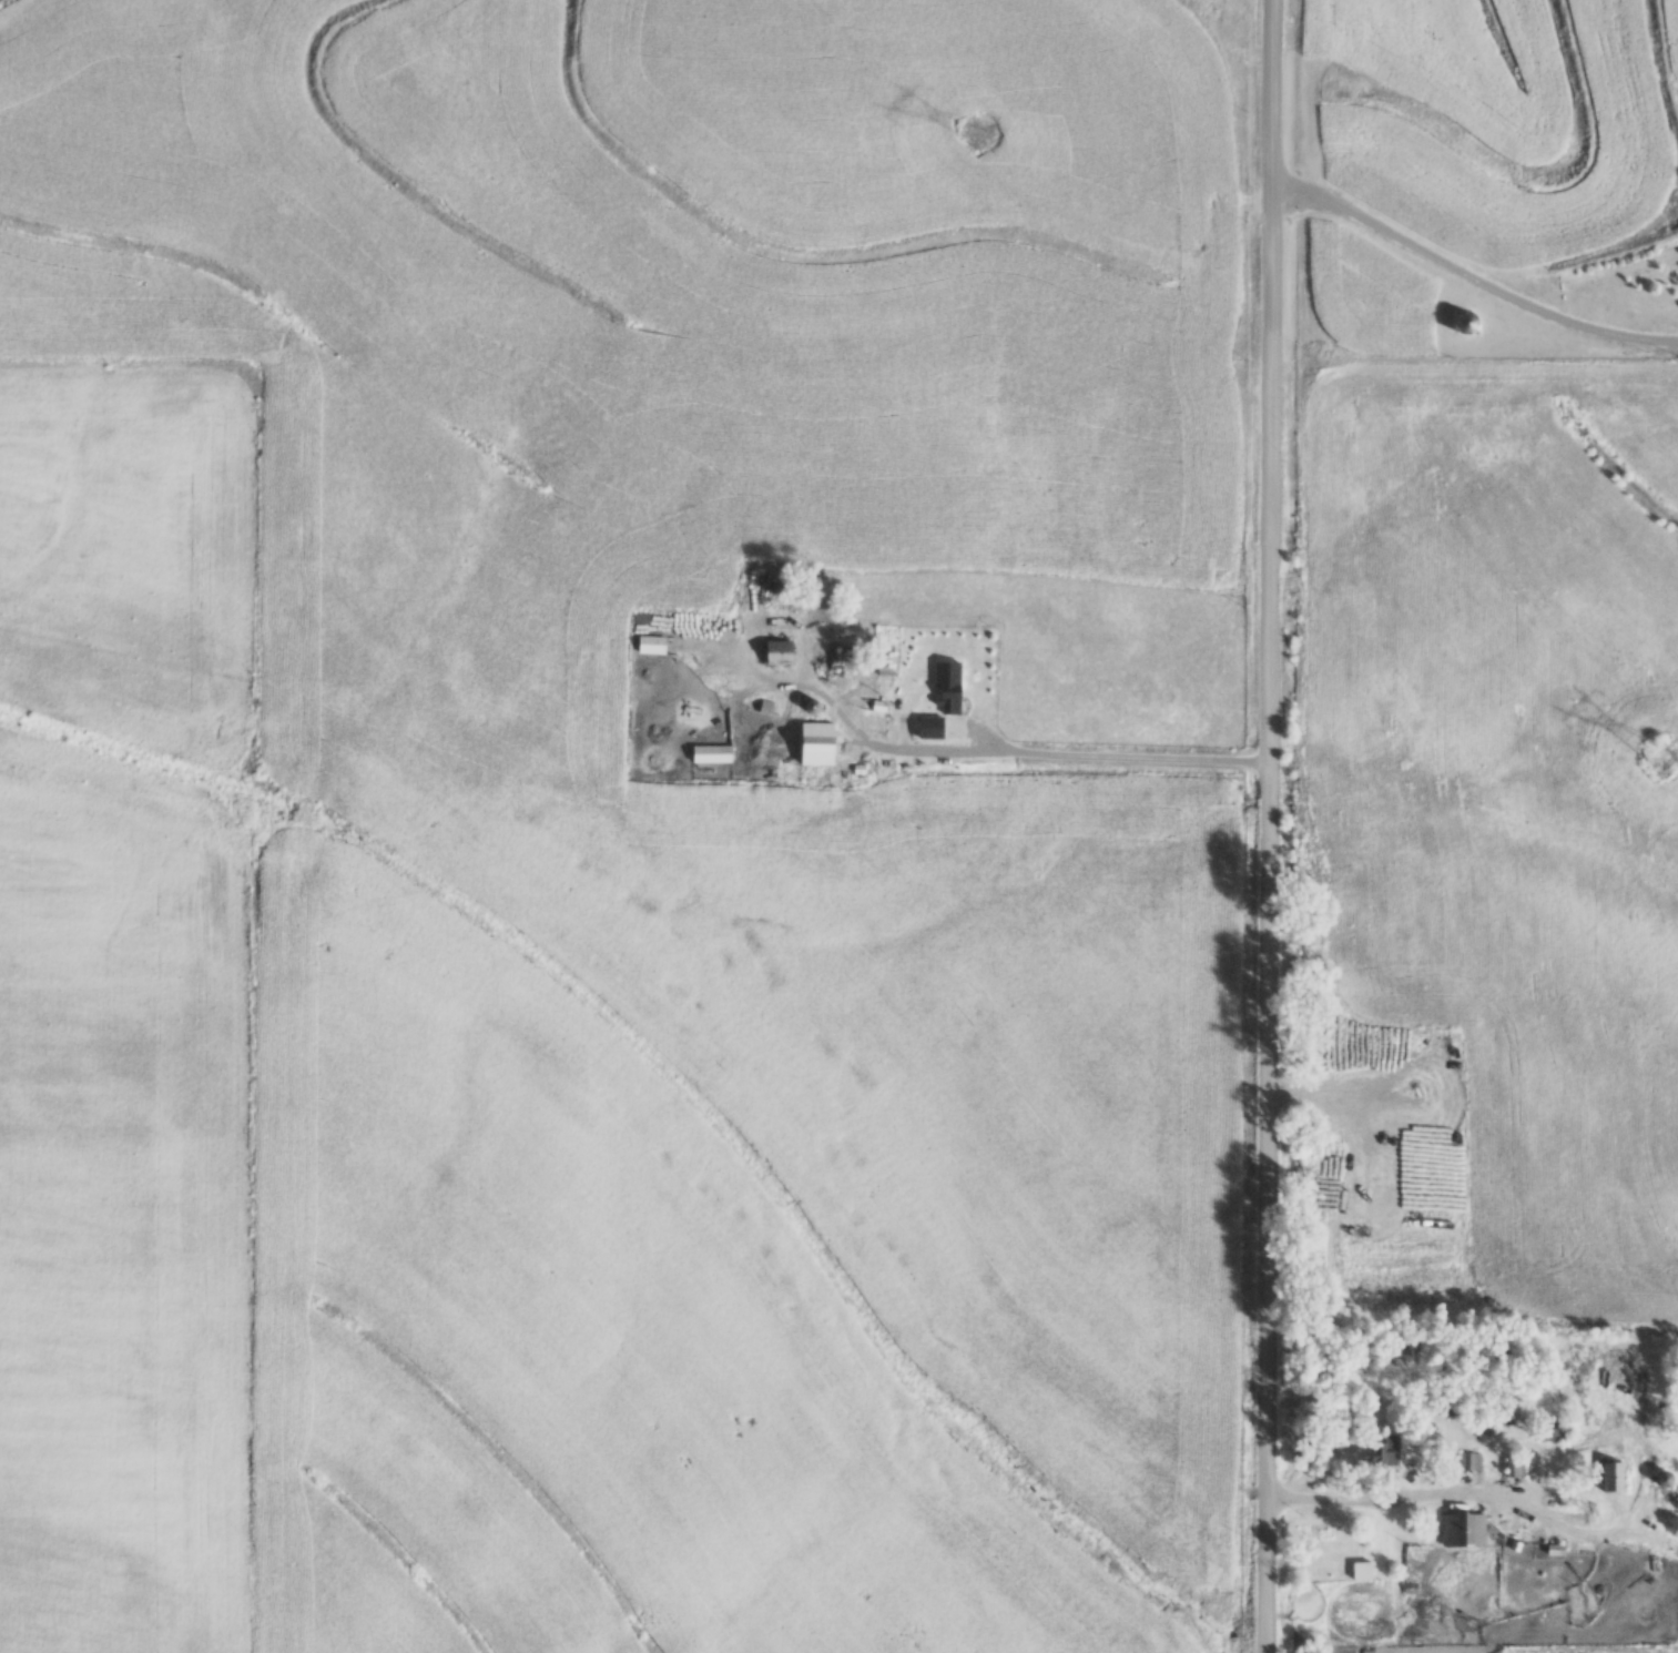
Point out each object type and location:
power tower: (985, 140)
road: (1471, 274)
building: (651, 641)
building: (780, 649)
building: (947, 683)
building: (817, 740)
building: (711, 750)
road: (1057, 758)
road: (1268, 825)
building: (1553, 1423)
building: (1379, 1448)
building: (1468, 1456)
building: (1514, 1461)
road: (1447, 1492)
building: (1463, 1524)

